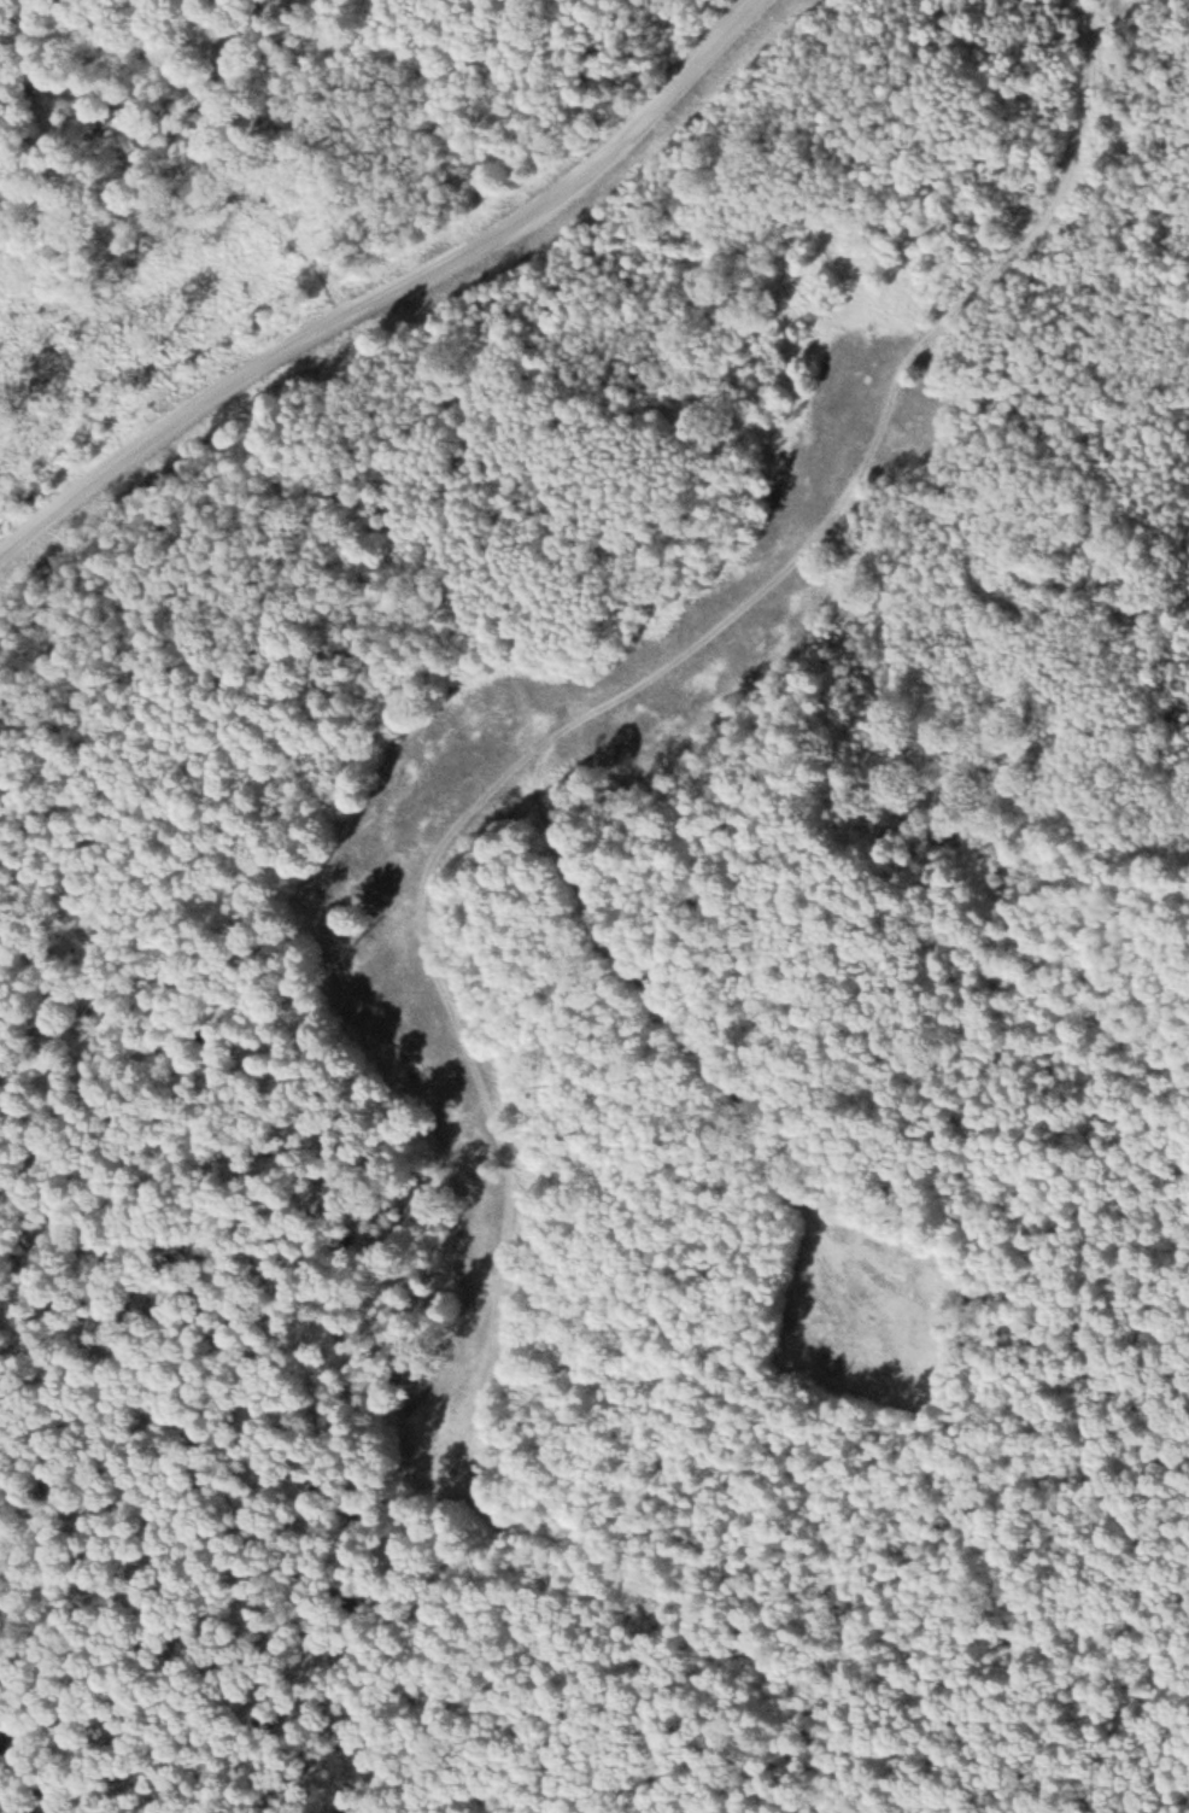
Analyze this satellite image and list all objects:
road: (398, 296)

